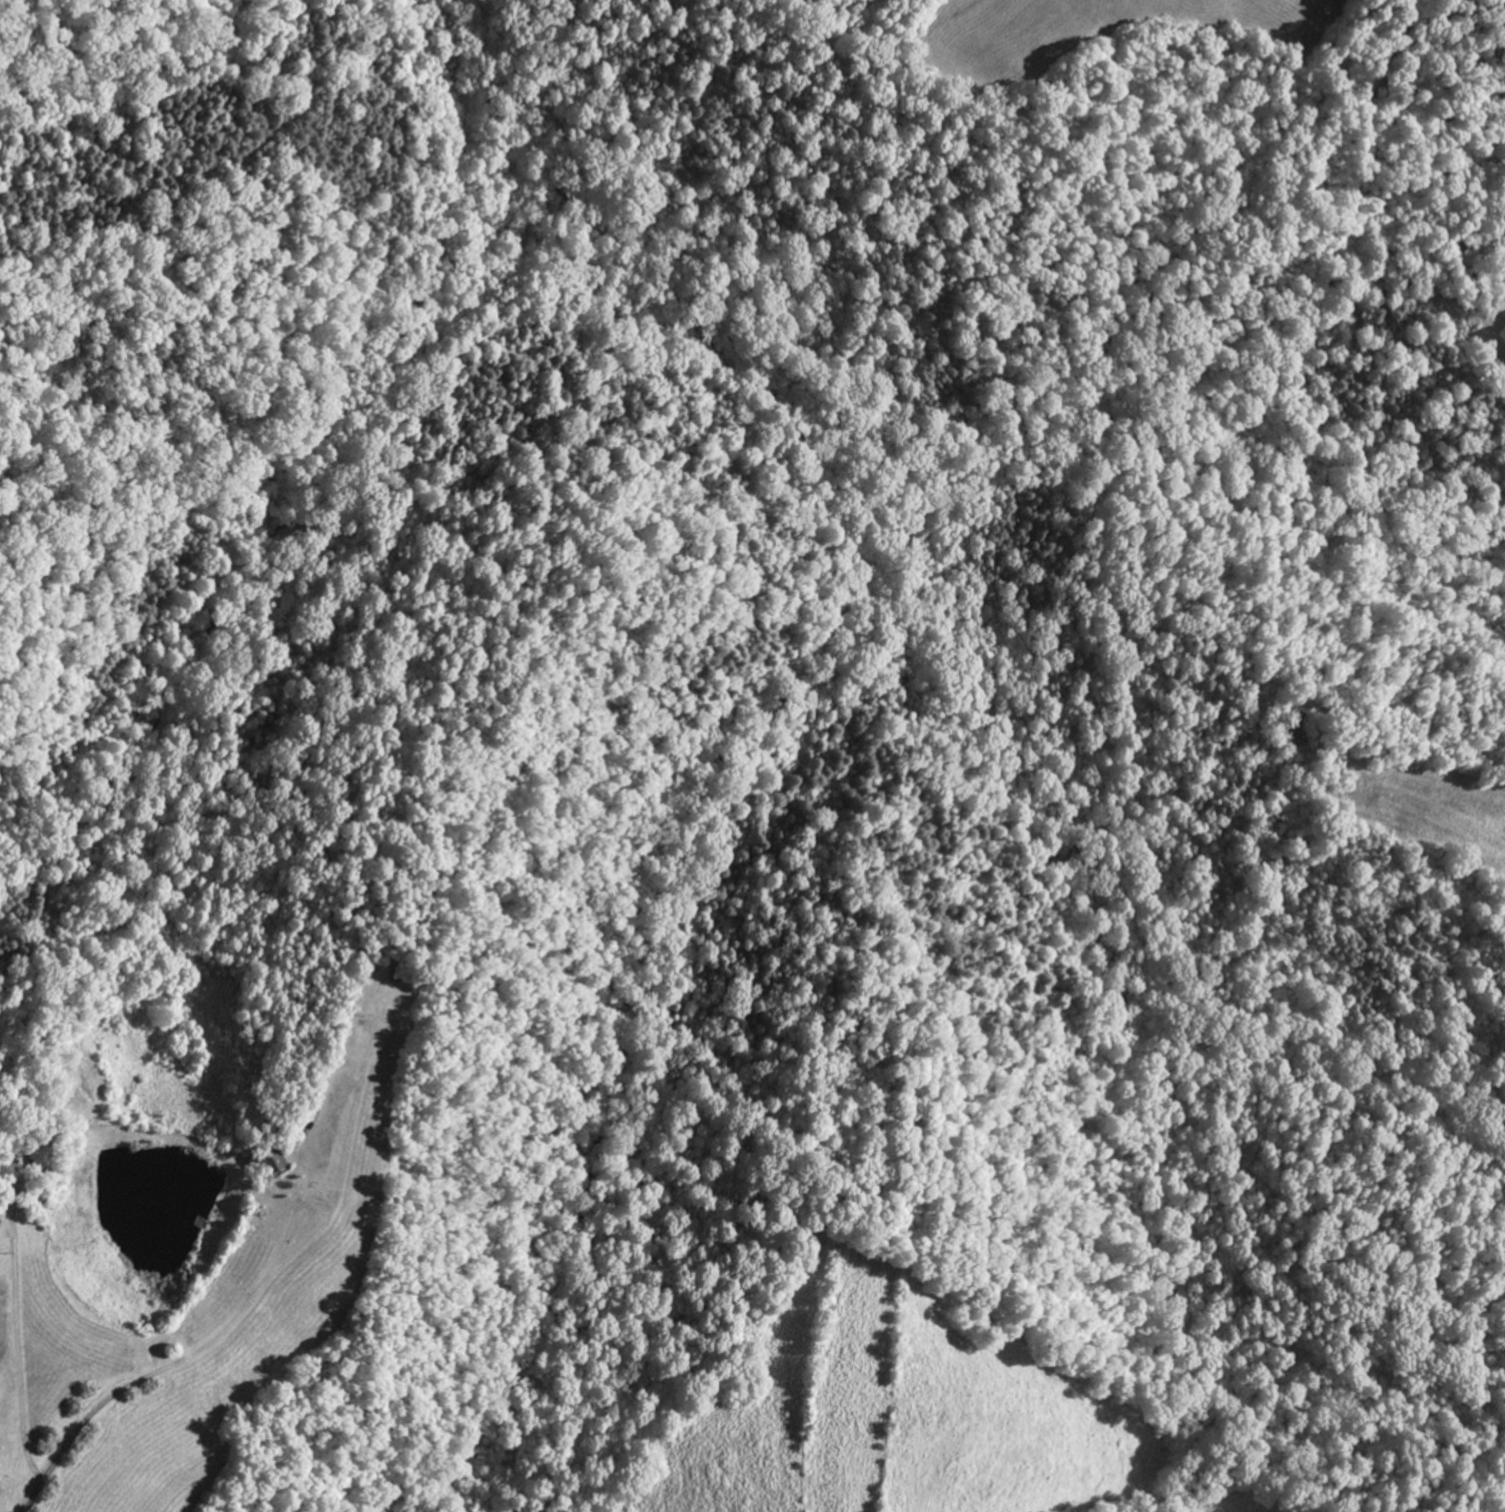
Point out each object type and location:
building: (274, 1161)

